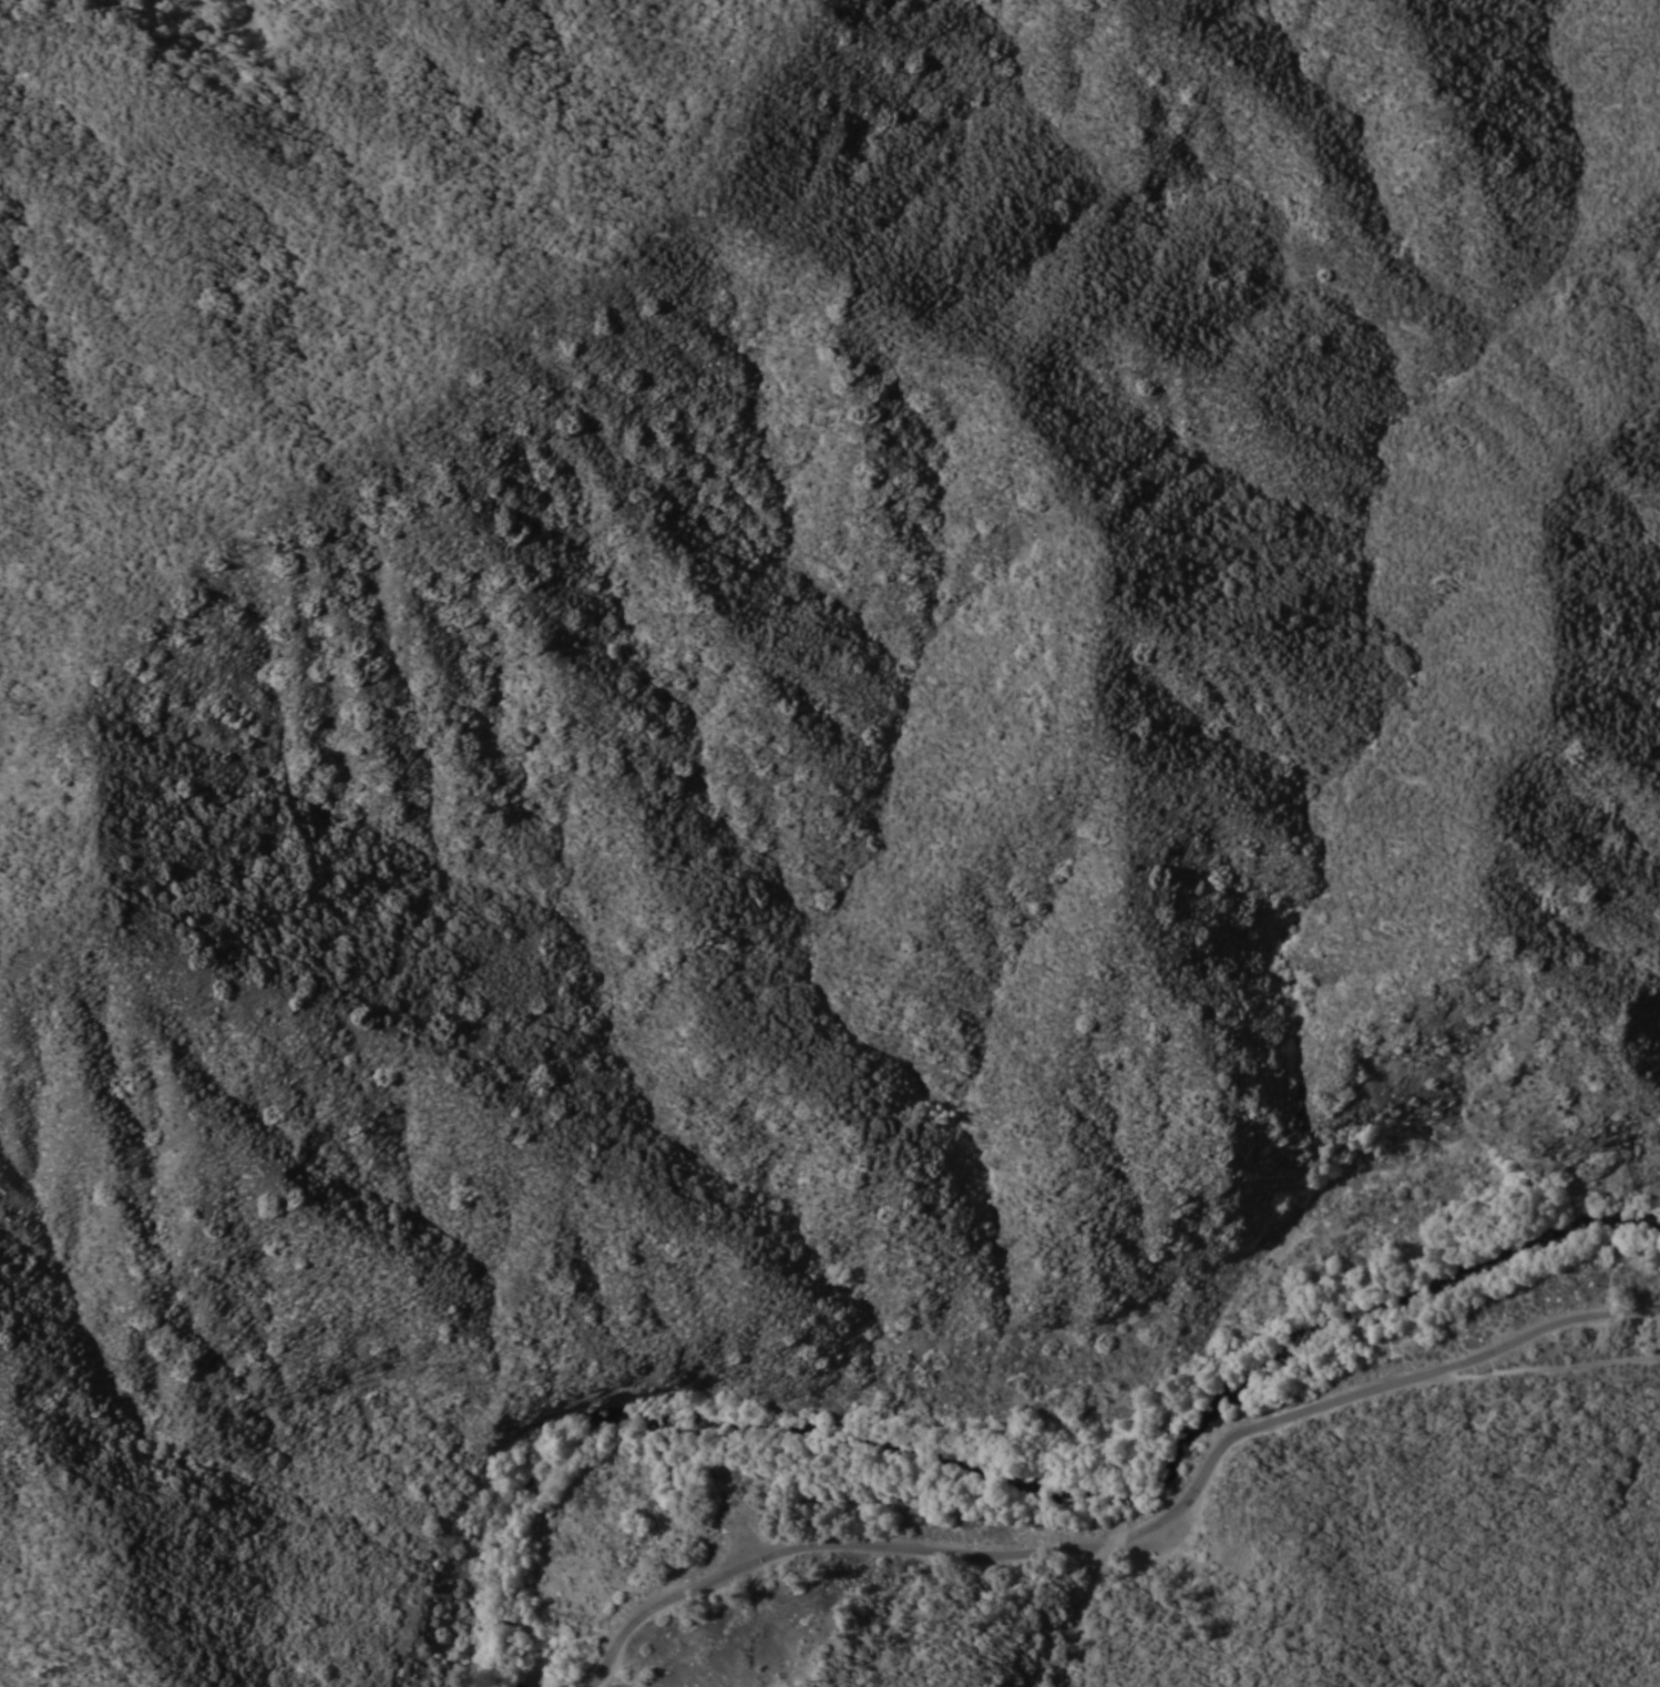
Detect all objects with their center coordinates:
road: (1550, 1367)
river: (1027, 1479)
road: (1133, 1544)

